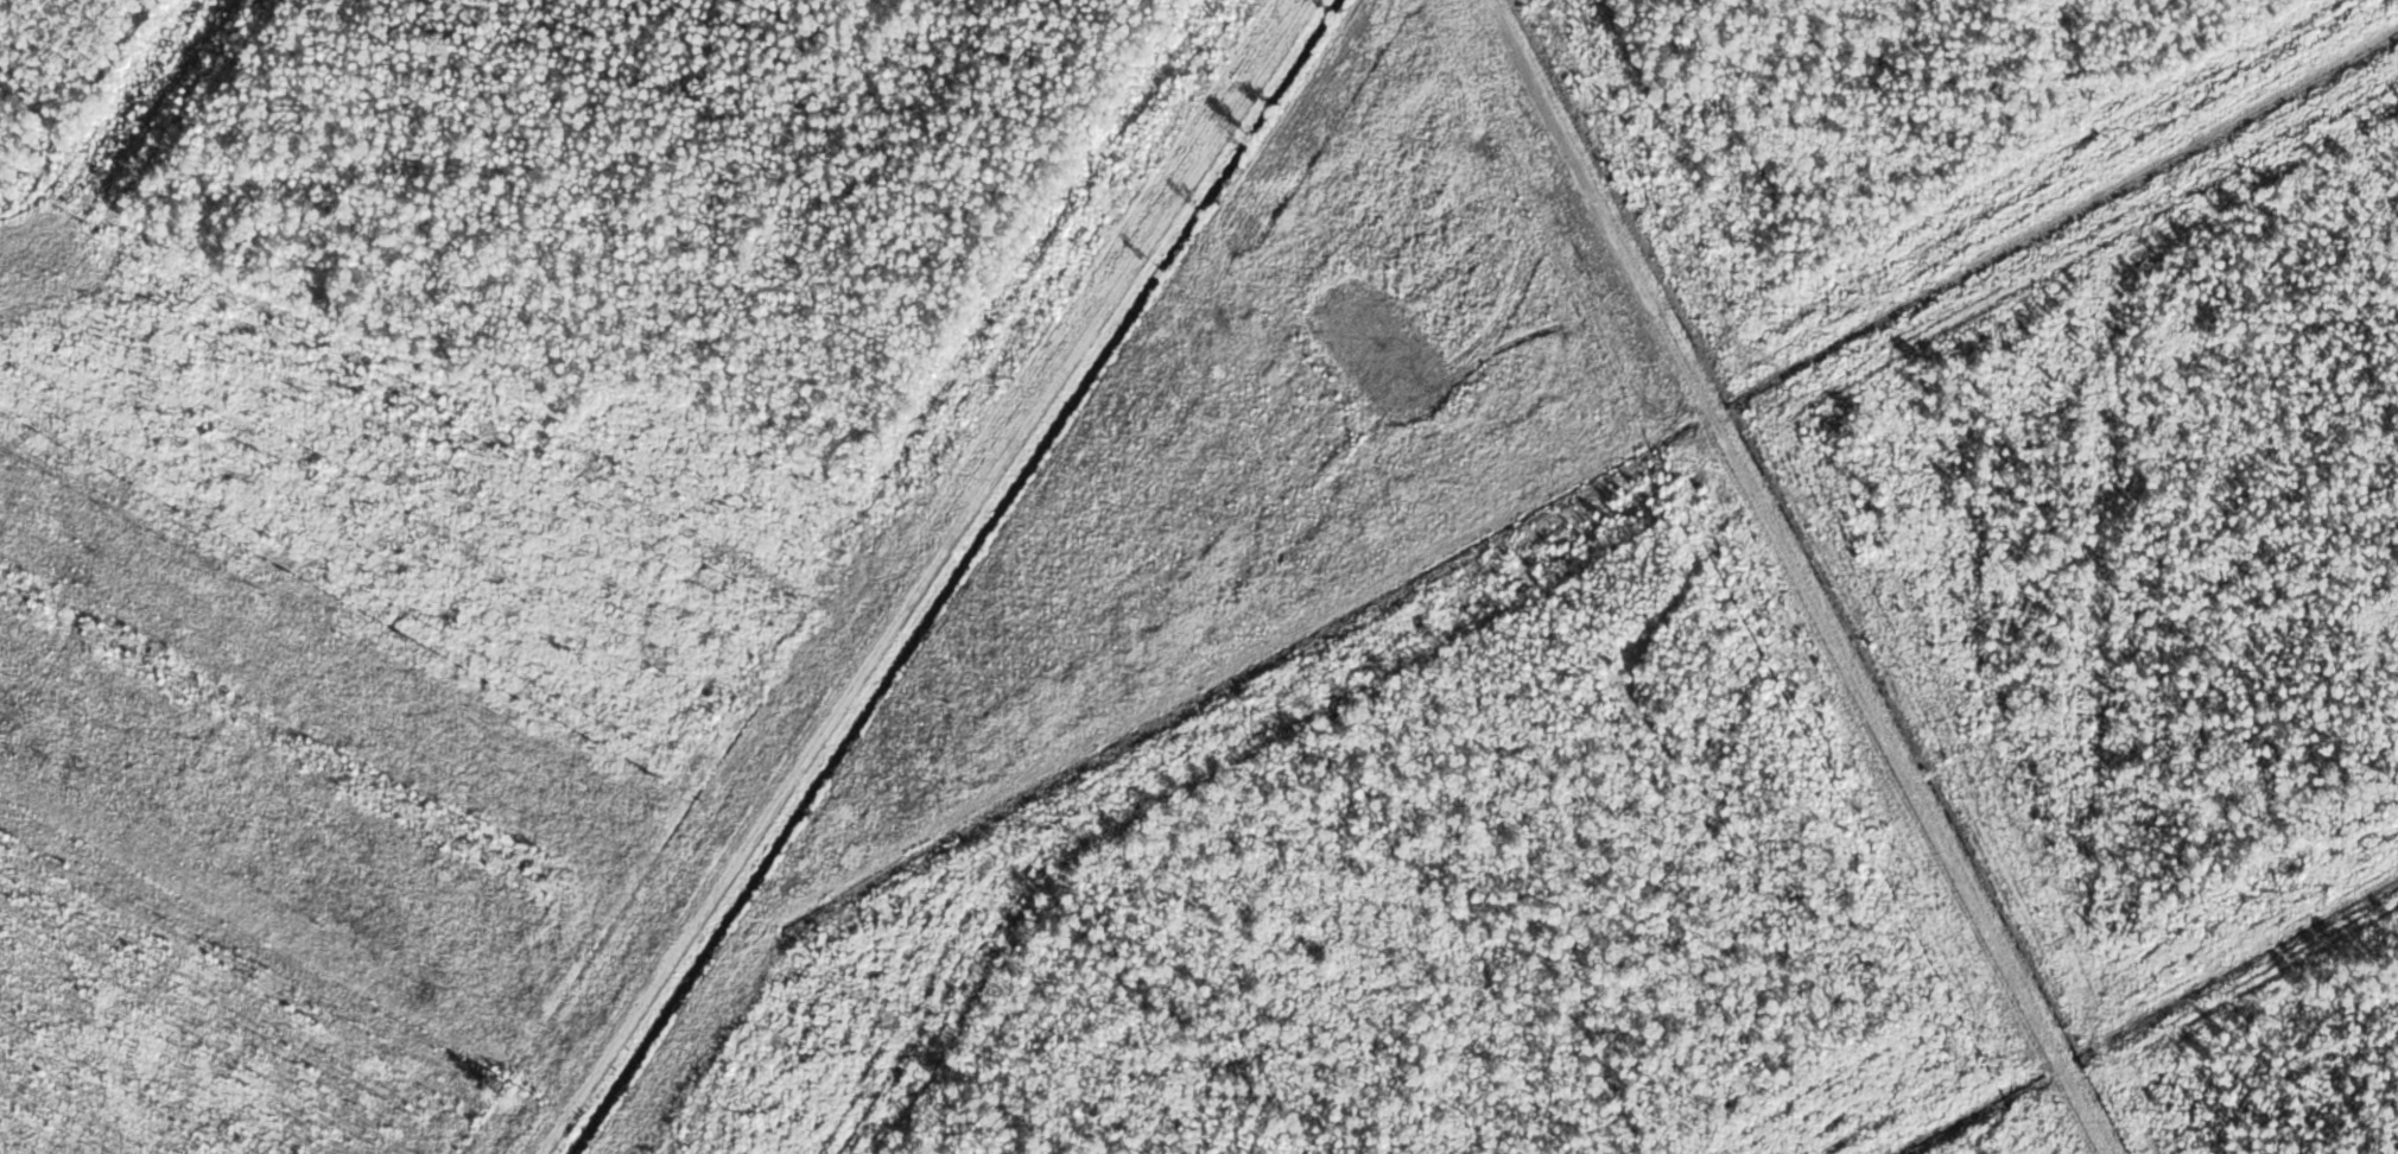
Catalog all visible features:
road: (960, 577)

